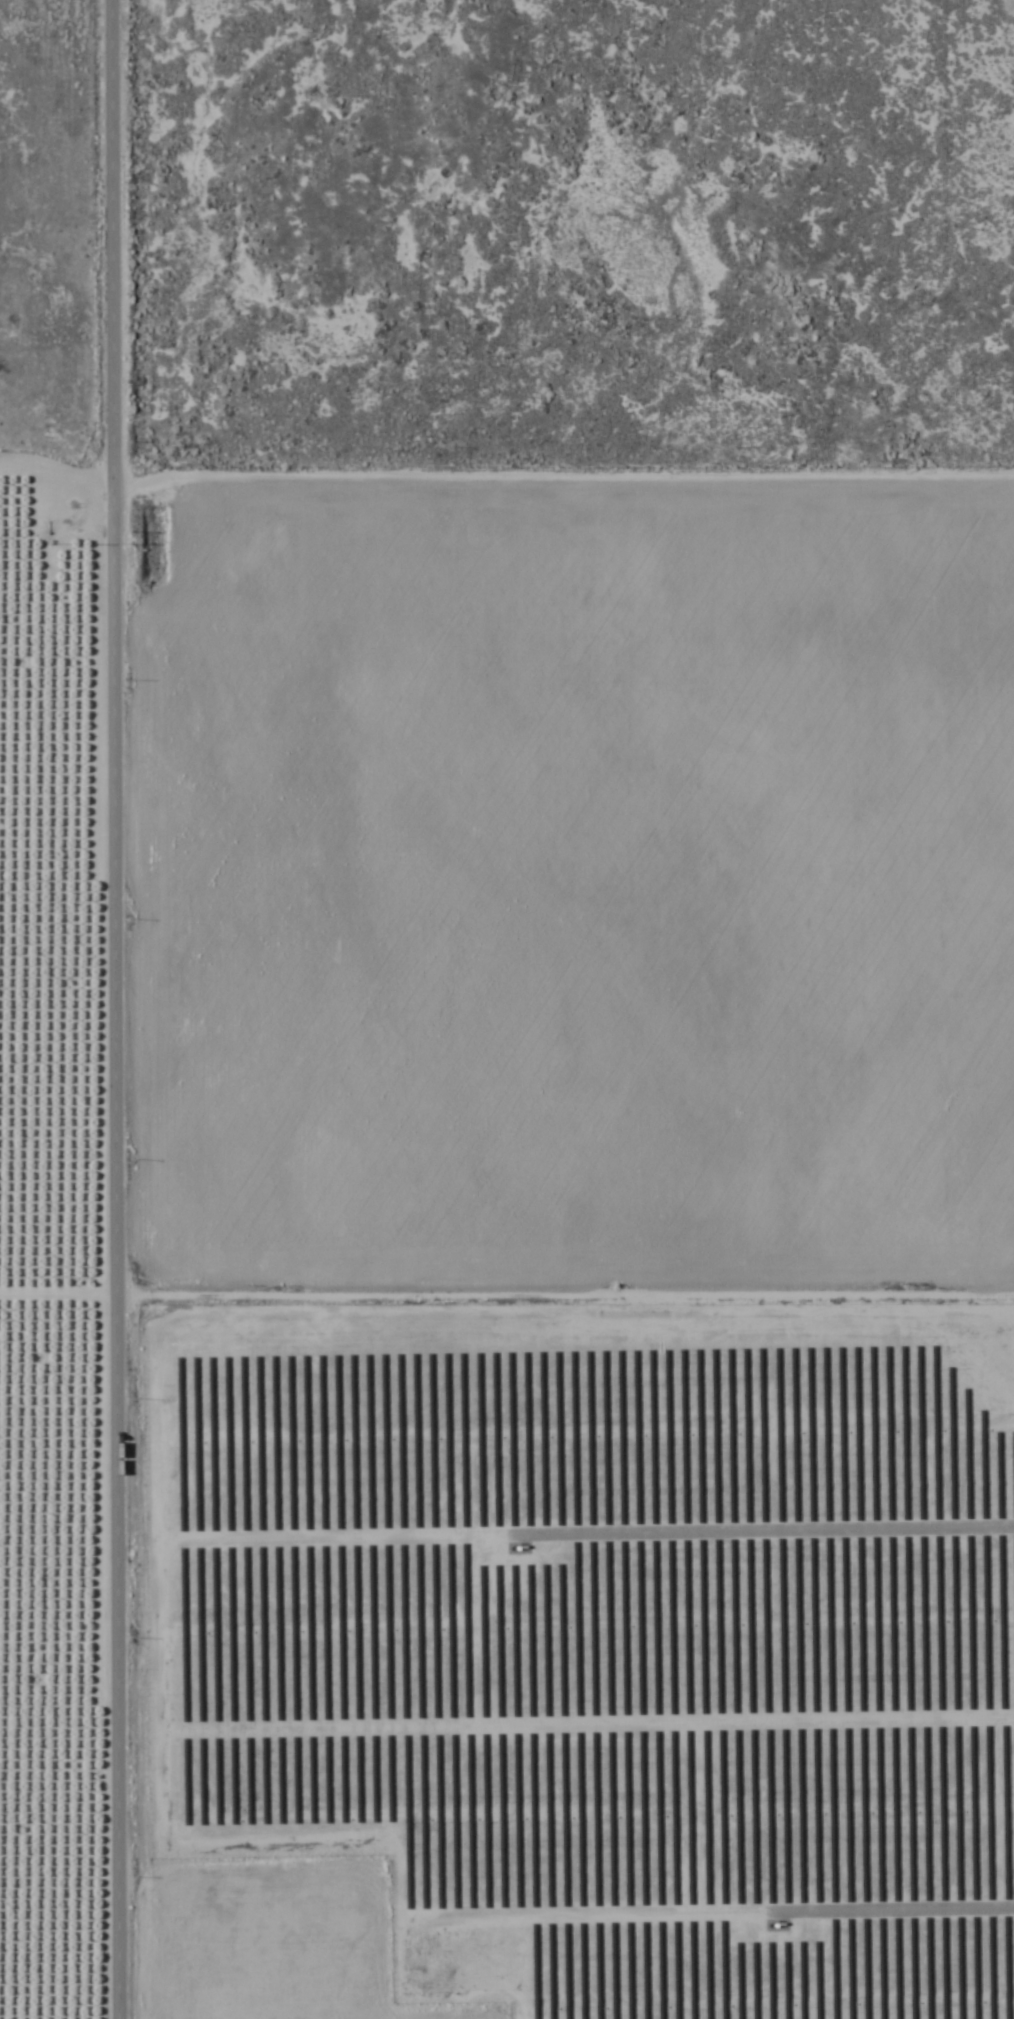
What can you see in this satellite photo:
road: (57, 452)
road: (115, 1009)
road: (58, 1258)
solar farm: (589, 1639)

